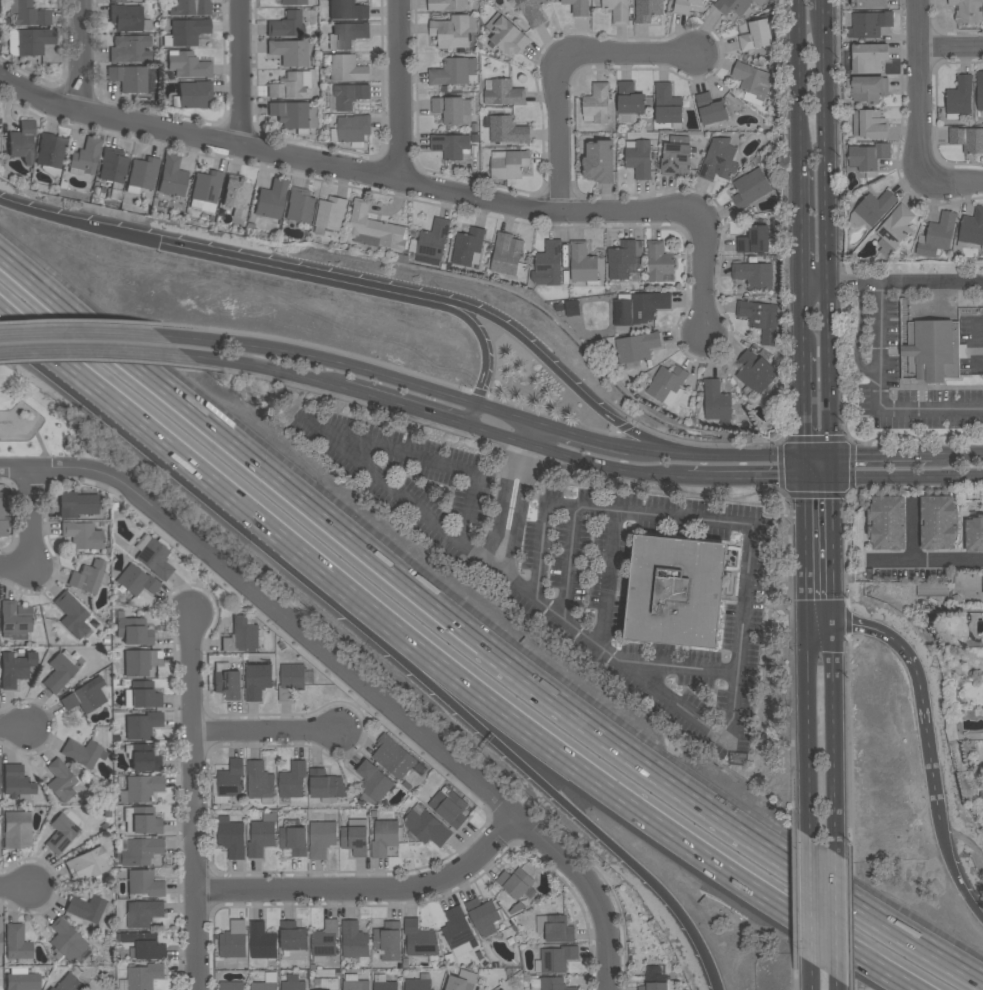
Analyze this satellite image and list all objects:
building: (116, 0)
building: (294, 2)
building: (869, 3)
building: (447, 5)
building: (684, 5)
road: (823, 5)
building: (735, 6)
building: (578, 7)
building: (191, 8)
building: (347, 10)
building: (647, 10)
building: (532, 11)
building: (617, 11)
building: (967, 11)
building: (30, 14)
building: (128, 18)
building: (286, 25)
building: (869, 25)
building: (186, 32)
building: (452, 32)
building: (761, 33)
building: (347, 35)
building: (507, 36)
building: (29, 41)
building: (130, 49)
road: (951, 49)
building: (289, 52)
road: (632, 53)
road: (80, 57)
building: (869, 58)
building: (188, 65)
building: (345, 68)
building: (453, 72)
road: (241, 73)
building: (133, 78)
building: (753, 82)
road: (919, 83)
building: (291, 85)
road: (798, 86)
building: (867, 89)
building: (979, 90)
road: (399, 91)
building: (503, 93)
building: (195, 94)
building: (349, 96)
building: (959, 98)
building: (629, 99)
building: (596, 104)
building: (668, 106)
building: (452, 110)
building: (711, 111)
building: (295, 115)
building: (869, 125)
building: (351, 130)
building: (505, 130)
road: (561, 133)
building: (967, 139)
building: (22, 141)
building: (452, 147)
building: (51, 153)
building: (85, 157)
building: (676, 157)
building: (867, 157)
building: (638, 158)
building: (719, 160)
building: (599, 162)
building: (509, 164)
building: (113, 167)
road: (347, 170)
building: (142, 175)
building: (172, 177)
road: (948, 183)
building: (750, 188)
building: (206, 191)
building: (237, 195)
building: (271, 200)
building: (300, 206)
building: (871, 209)
building: (330, 215)
road: (80, 225)
building: (896, 226)
building: (972, 228)
building: (375, 229)
road: (801, 229)
building: (937, 235)
road: (828, 236)
building: (754, 241)
building: (433, 242)
building: (468, 248)
building: (508, 255)
building: (623, 259)
building: (659, 262)
building: (548, 265)
building: (583, 265)
road: (289, 270)
building: (754, 276)
road: (704, 280)
road: (892, 283)
building: (639, 309)
road: (802, 319)
building: (760, 320)
road: (477, 336)
road: (856, 336)
road: (84, 338)
building: (636, 350)
building: (933, 351)
road: (78, 354)
road: (101, 360)
road: (324, 362)
road: (248, 370)
road: (563, 371)
building: (754, 374)
building: (667, 385)
road: (880, 395)
road: (350, 399)
road: (116, 401)
building: (716, 401)
road: (804, 406)
road: (404, 408)
road: (502, 418)
road: (471, 419)
park: (43, 422)
road: (537, 430)
road: (494, 436)
road: (525, 436)
road: (852, 436)
road: (586, 445)
road: (354, 451)
road: (523, 453)
road: (957, 458)
road: (518, 459)
road: (666, 459)
road: (882, 459)
road: (755, 461)
road: (819, 461)
traffic signals: (834, 461)
traffic signals: (805, 462)
road: (603, 470)
road: (805, 472)
road: (834, 472)
road: (746, 480)
road: (908, 482)
road: (819, 483)
traffic signals: (834, 484)
road: (665, 488)
building: (77, 505)
building: (2, 518)
road: (32, 518)
road: (497, 519)
road: (515, 523)
building: (887, 523)
building: (938, 523)
road: (914, 533)
building: (82, 535)
building: (974, 535)
road: (833, 542)
road: (805, 552)
building: (154, 556)
road: (927, 563)
road: (569, 564)
road: (16, 567)
building: (89, 577)
road: (605, 578)
building: (982, 579)
building: (135, 582)
road: (746, 583)
building: (933, 590)
building: (675, 591)
road: (273, 606)
road: (833, 611)
building: (73, 616)
building: (15, 620)
road: (819, 621)
road: (879, 631)
building: (134, 632)
building: (242, 635)
road: (474, 639)
road: (790, 653)
building: (141, 662)
building: (15, 668)
building: (61, 671)
building: (294, 680)
building: (257, 681)
building: (227, 682)
building: (145, 695)
building: (80, 699)
road: (413, 708)
road: (697, 723)
building: (143, 726)
road: (16, 727)
road: (807, 729)
road: (267, 732)
road: (832, 734)
road: (487, 735)
road: (929, 736)
road: (848, 748)
building: (83, 753)
building: (143, 757)
road: (563, 757)
building: (398, 762)
building: (61, 781)
building: (292, 781)
building: (16, 782)
building: (228, 782)
building: (260, 782)
building: (374, 784)
building: (326, 786)
building: (141, 788)
building: (981, 796)
road: (194, 801)
building: (449, 807)
building: (142, 821)
building: (426, 827)
building: (17, 830)
building: (61, 834)
building: (231, 837)
building: (261, 838)
building: (293, 838)
building: (322, 838)
building: (355, 838)
building: (385, 838)
building: (137, 851)
building: (87, 865)
road: (955, 866)
road: (794, 882)
building: (145, 883)
building: (515, 883)
road: (16, 888)
road: (591, 888)
road: (369, 890)
building: (86, 908)
road: (807, 911)
building: (143, 913)
road: (834, 915)
building: (484, 916)
road: (850, 922)
building: (457, 928)
building: (555, 929)
building: (0, 936)
building: (416, 938)
building: (294, 939)
building: (66, 941)
building: (233, 941)
building: (388, 941)
building: (262, 942)
building: (325, 942)
building: (17, 943)
building: (355, 943)
building: (144, 946)
building: (466, 946)
building: (556, 960)
road: (795, 968)
building: (142, 977)
building: (22, 980)
building: (462, 982)
building: (68, 983)
building: (292, 983)
building: (354, 983)
building: (382, 983)
building: (419, 983)
building: (657, 983)
building: (326, 984)
building: (549, 984)
building: (231, 986)
building: (264, 986)
road: (837, 986)
road: (807, 987)
road: (851, 988)
building: (502, 989)

